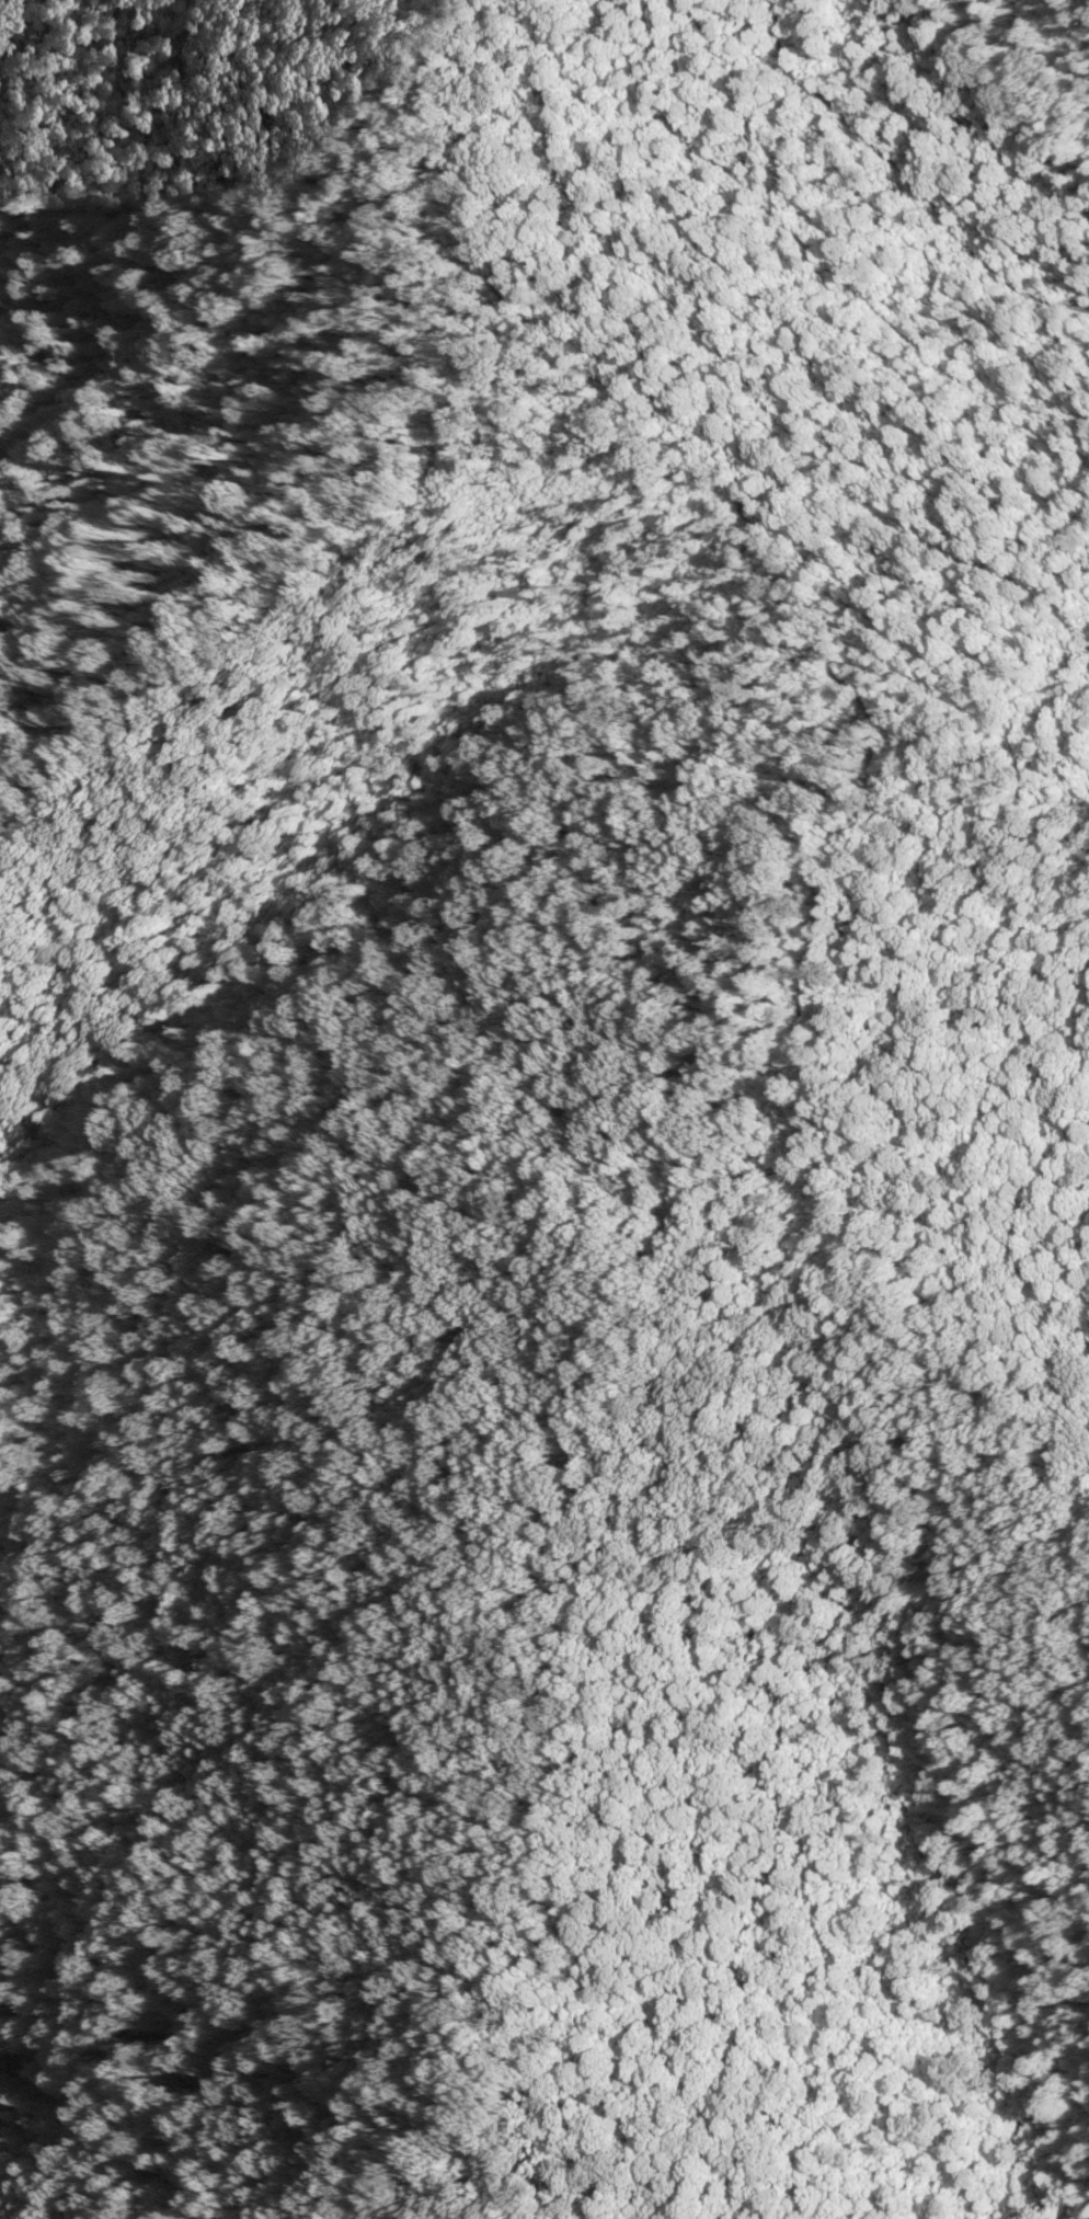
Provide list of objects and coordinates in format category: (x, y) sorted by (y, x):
road: (9, 202)

